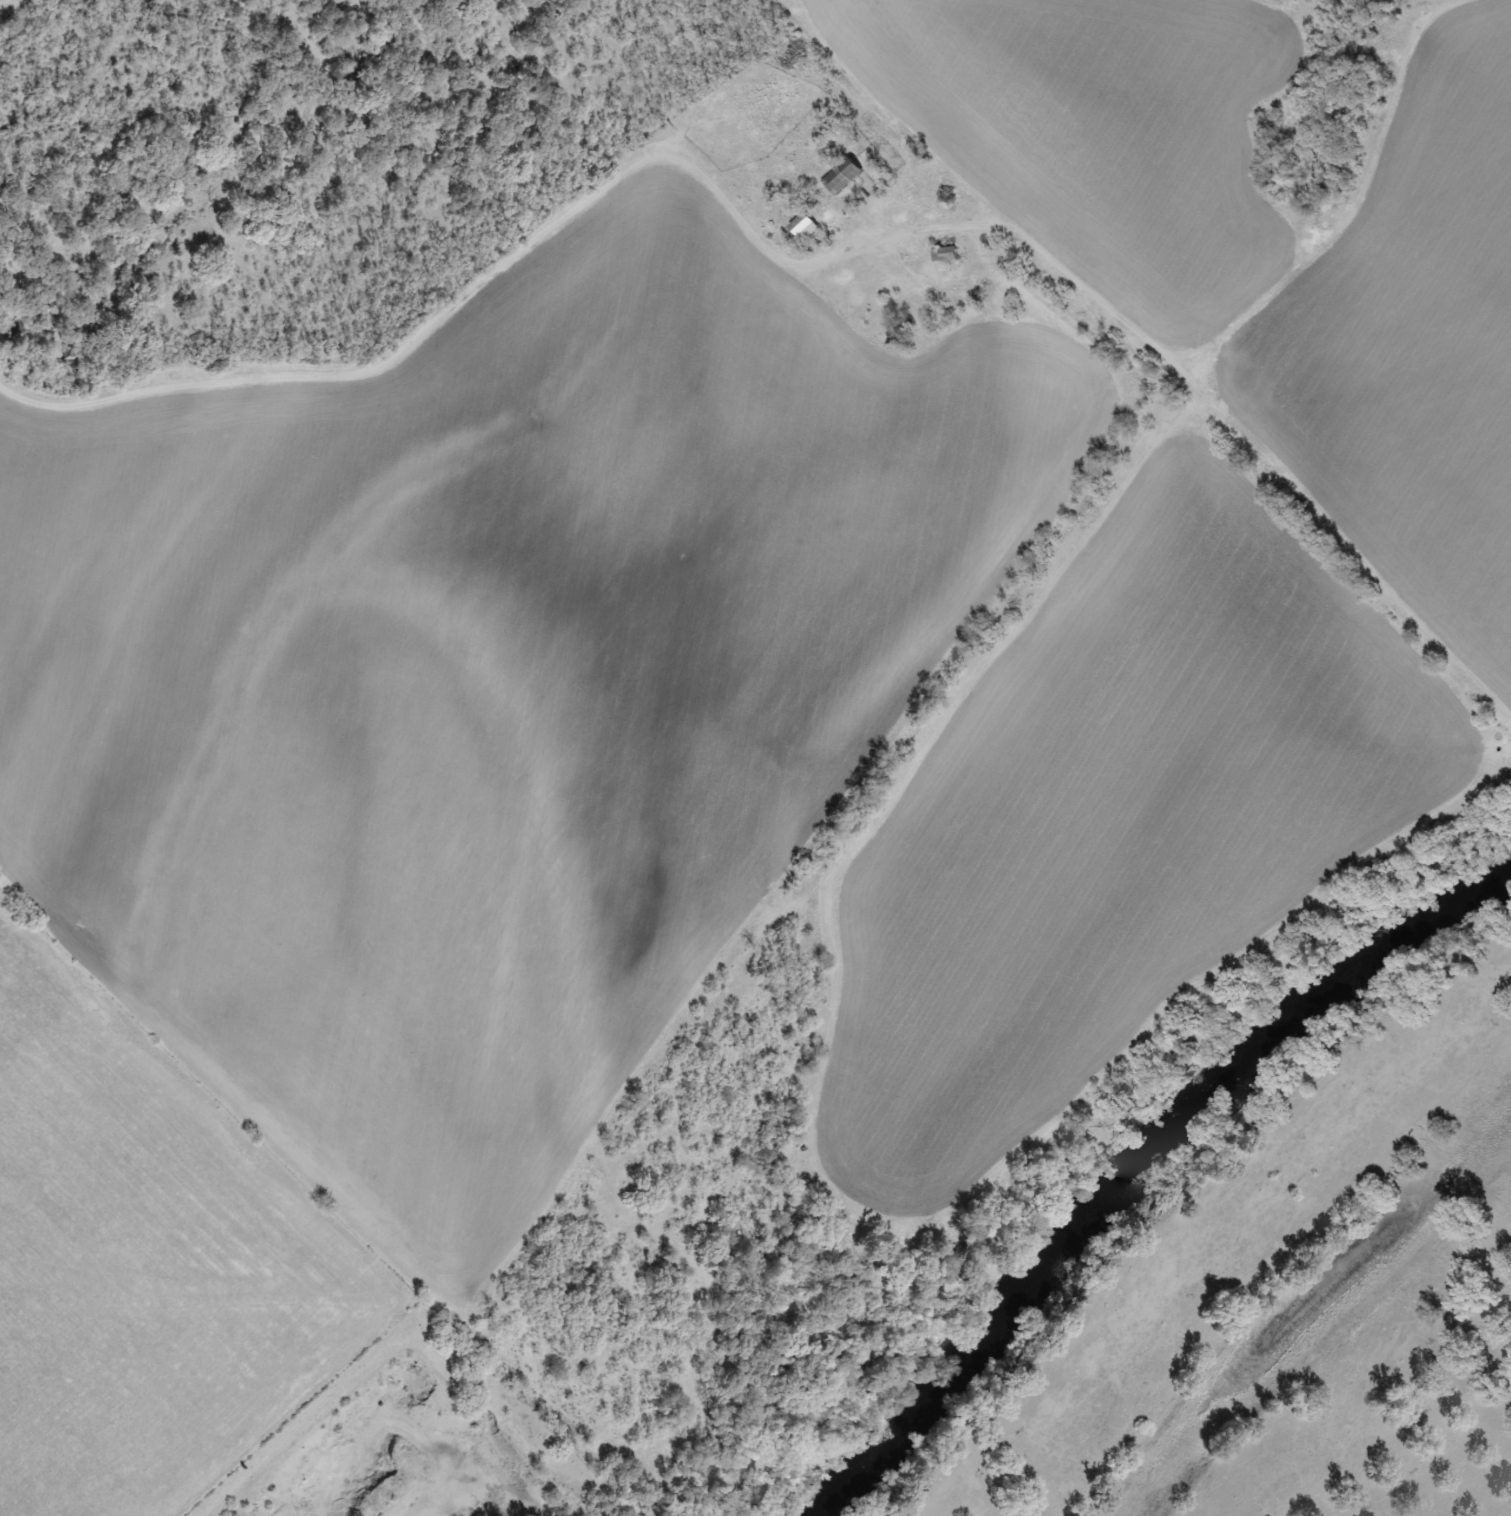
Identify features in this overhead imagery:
building: (837, 177)
building: (799, 228)
building: (939, 255)
road: (466, 363)
river: (1146, 1175)

